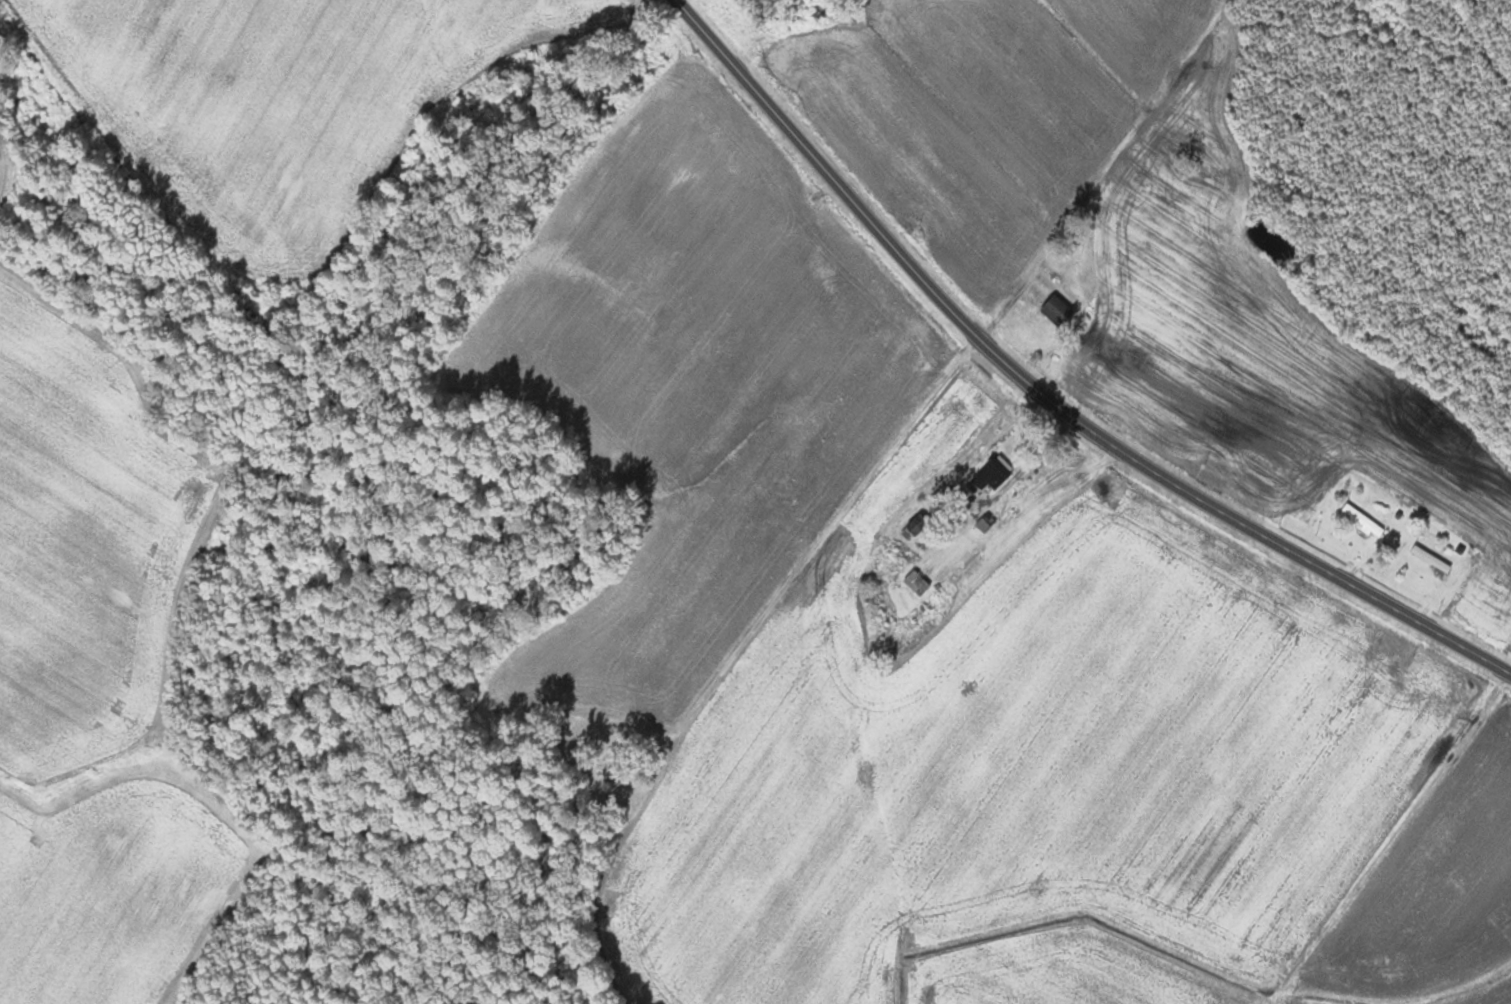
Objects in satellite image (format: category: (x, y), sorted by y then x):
building: (1058, 309)
road: (1052, 396)
building: (994, 475)
building: (1363, 521)
building: (916, 527)
building: (1431, 559)
building: (917, 582)
park: (605, 763)

